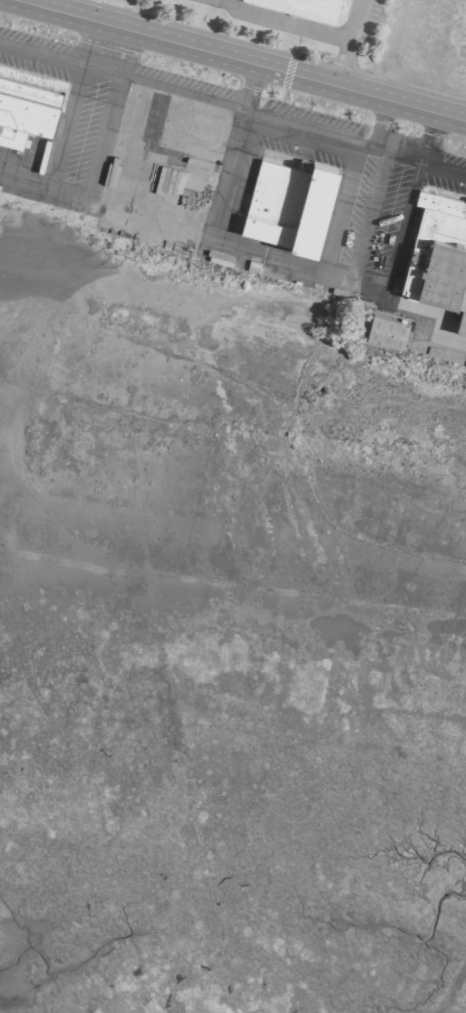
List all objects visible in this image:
building: (315, 4)
road: (284, 24)
road: (89, 40)
road: (348, 41)
road: (41, 55)
road: (255, 59)
road: (105, 73)
road: (247, 84)
road: (183, 95)
building: (26, 106)
road: (301, 127)
road: (432, 138)
road: (394, 155)
road: (445, 171)
building: (288, 202)
road: (247, 245)
building: (438, 253)
building: (385, 330)
airport: (233, 506)

